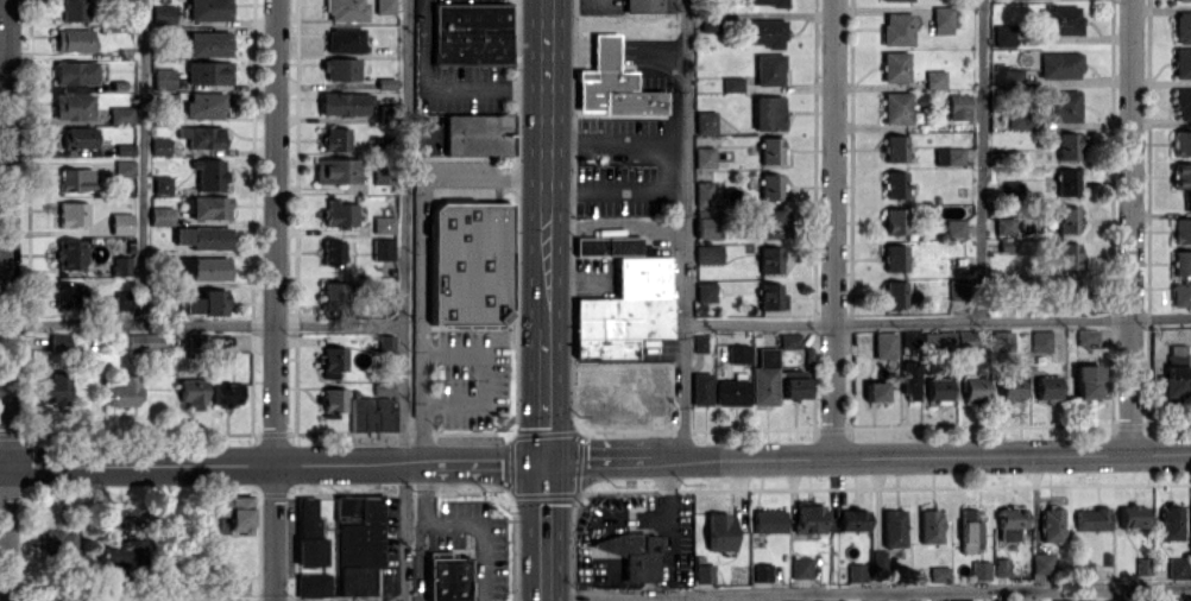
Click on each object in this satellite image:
building: (897, 0)
building: (1183, 0)
building: (767, 2)
building: (642, 5)
building: (383, 6)
building: (73, 10)
building: (207, 10)
building: (344, 10)
building: (162, 14)
building: (941, 19)
building: (1059, 20)
building: (707, 23)
building: (1183, 26)
building: (896, 29)
building: (764, 32)
building: (471, 33)
building: (1002, 34)
building: (73, 39)
building: (342, 39)
building: (207, 43)
building: (1181, 62)
building: (1058, 64)
building: (894, 65)
building: (339, 68)
building: (768, 69)
building: (74, 72)
building: (207, 72)
building: (1010, 76)
building: (162, 78)
building: (934, 78)
building: (731, 83)
building: (611, 84)
road: (442, 87)
building: (344, 103)
road: (546, 103)
building: (1183, 103)
building: (203, 105)
building: (71, 106)
building: (958, 106)
building: (1065, 106)
building: (895, 107)
building: (767, 112)
building: (119, 114)
building: (1017, 120)
building: (704, 121)
building: (477, 133)
building: (74, 137)
building: (201, 137)
building: (334, 138)
building: (1181, 143)
building: (158, 145)
building: (1066, 145)
building: (894, 147)
building: (122, 148)
building: (770, 150)
building: (949, 156)
building: (702, 157)
road: (979, 160)
road: (143, 162)
road: (670, 165)
building: (122, 167)
building: (335, 170)
building: (208, 172)
building: (382, 173)
building: (1181, 175)
building: (73, 178)
building: (1065, 182)
building: (160, 184)
building: (894, 184)
building: (769, 185)
building: (702, 192)
road: (420, 198)
building: (207, 207)
building: (339, 213)
building: (71, 214)
building: (159, 215)
building: (1066, 219)
building: (895, 221)
building: (120, 222)
building: (769, 222)
building: (383, 223)
building: (1003, 226)
road: (1129, 226)
building: (705, 227)
building: (954, 227)
road: (832, 228)
road: (683, 229)
building: (1181, 230)
building: (202, 236)
building: (606, 245)
building: (382, 248)
building: (335, 252)
building: (707, 253)
building: (68, 254)
building: (1066, 255)
building: (894, 257)
building: (769, 259)
road: (544, 260)
building: (468, 262)
building: (1181, 262)
building: (120, 265)
building: (201, 267)
building: (1066, 287)
building: (957, 289)
building: (704, 291)
building: (894, 293)
building: (1180, 293)
building: (67, 295)
building: (333, 295)
building: (770, 296)
road: (6, 300)
building: (121, 300)
road: (275, 300)
road: (405, 300)
building: (206, 302)
building: (624, 311)
road: (937, 321)
road: (202, 323)
building: (1085, 336)
building: (789, 339)
building: (1002, 340)
building: (1040, 341)
building: (143, 342)
building: (209, 342)
building: (384, 342)
building: (699, 342)
building: (883, 344)
building: (737, 353)
building: (332, 358)
road: (483, 375)
building: (764, 377)
building: (909, 379)
building: (1086, 381)
building: (1174, 381)
building: (794, 386)
building: (1046, 386)
road: (544, 387)
building: (937, 387)
building: (975, 387)
building: (1010, 387)
building: (382, 388)
building: (700, 388)
building: (53, 390)
building: (122, 391)
building: (190, 391)
building: (875, 391)
building: (730, 392)
building: (225, 393)
building: (333, 400)
road: (420, 400)
building: (368, 413)
road: (595, 460)
traffic signals: (544, 461)
road: (667, 498)
building: (233, 512)
building: (305, 514)
building: (1132, 515)
building: (807, 517)
building: (1009, 518)
building: (1091, 518)
building: (852, 519)
building: (767, 520)
building: (1051, 521)
building: (1170, 521)
road: (460, 523)
building: (930, 525)
building: (893, 527)
building: (358, 529)
building: (969, 530)
road: (544, 531)
building: (718, 531)
building: (57, 542)
building: (309, 551)
building: (120, 553)
building: (631, 553)
building: (877, 558)
building: (800, 567)
building: (1001, 567)
building: (1177, 567)
building: (979, 569)
building: (1083, 569)
building: (1190, 570)
building: (761, 571)
building: (855, 571)
building: (702, 572)
building: (938, 572)
building: (446, 577)
building: (354, 580)
building: (237, 584)
building: (311, 584)
road: (868, 591)
road: (685, 597)
building: (960, 600)
building: (1001, 600)
building: (1060, 600)
building: (1082, 600)
building: (1114, 600)

